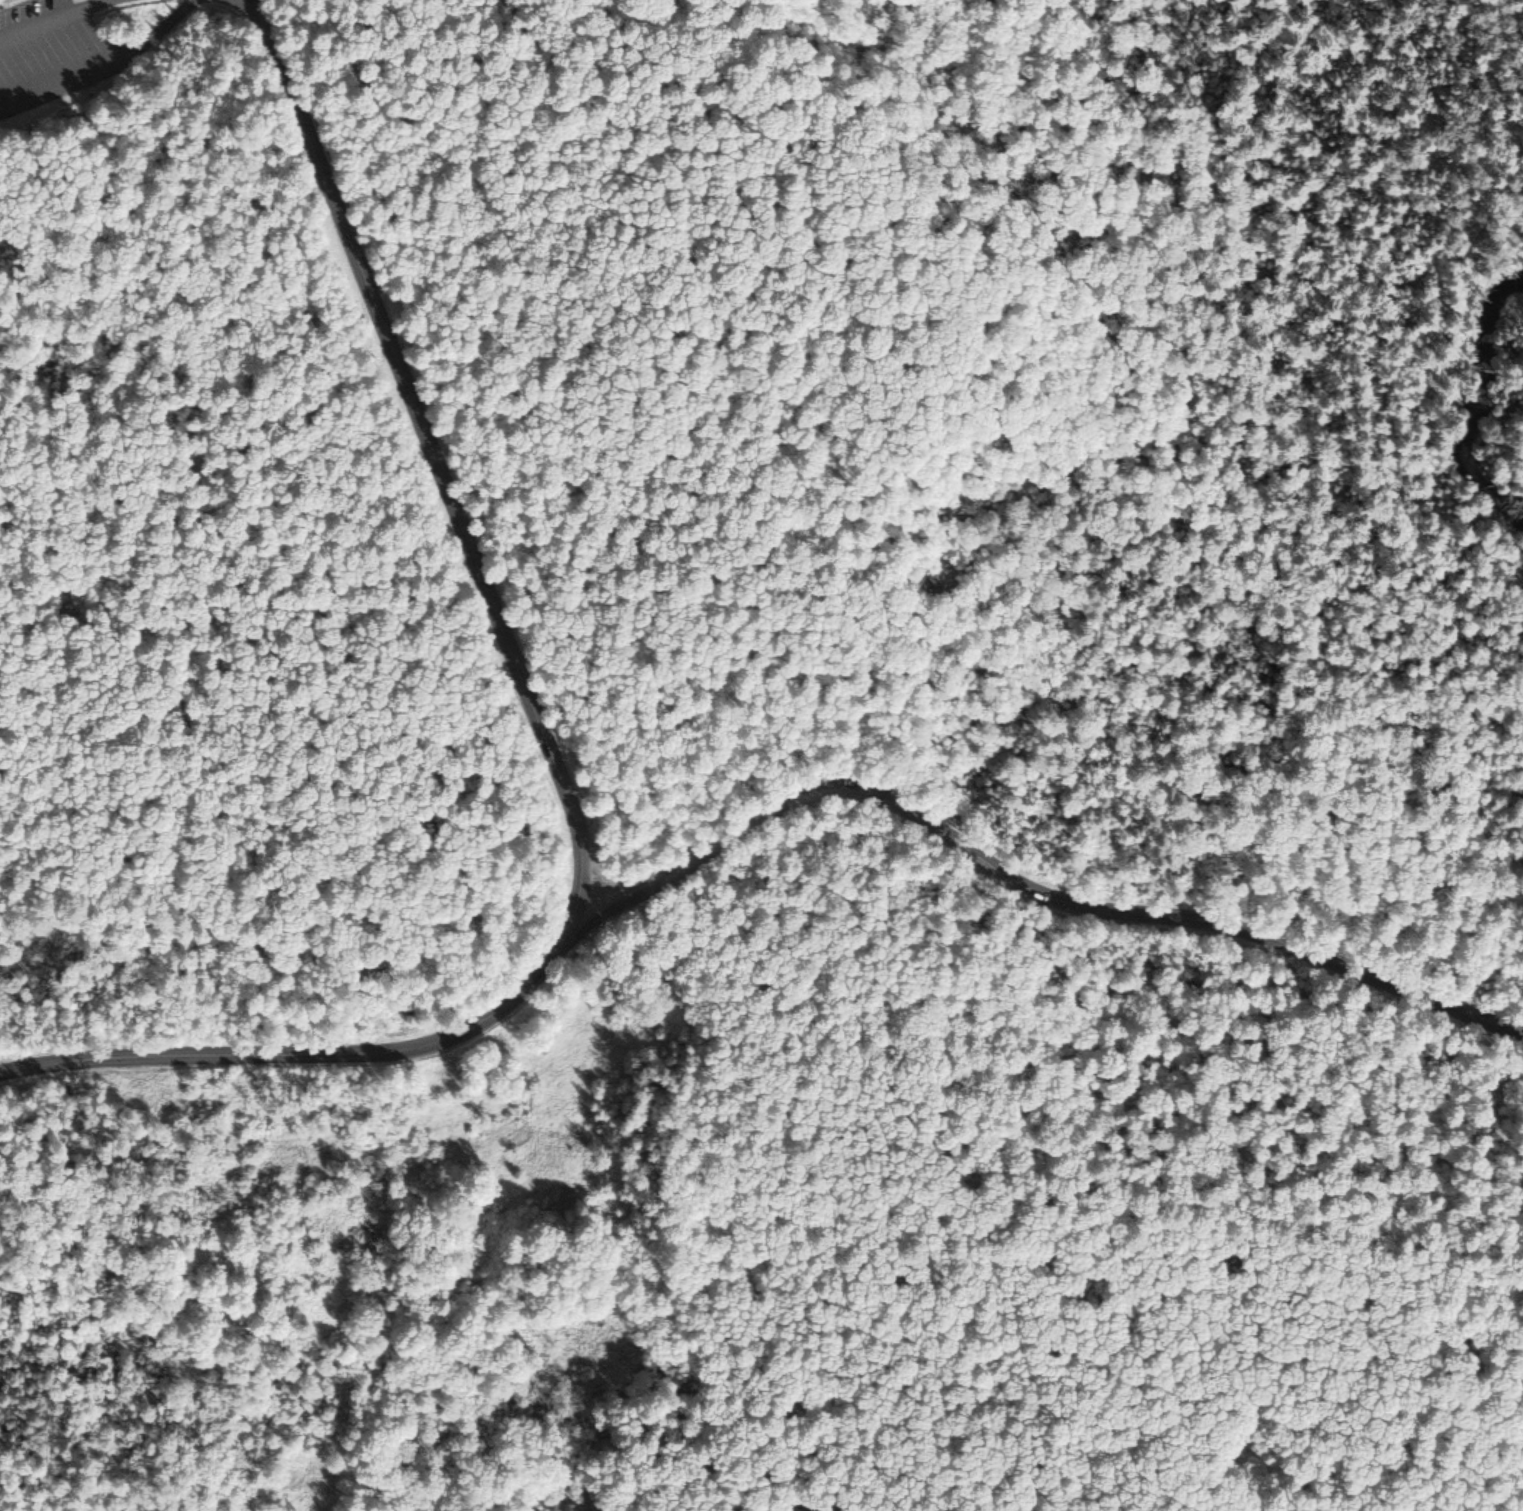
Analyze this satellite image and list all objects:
road: (64, 6)
road: (248, 9)
road: (264, 9)
road: (55, 18)
parking lot: (51, 55)
road: (105, 68)
river: (1466, 420)
road: (1195, 466)
road: (444, 476)
road: (1028, 886)
road: (308, 1057)

